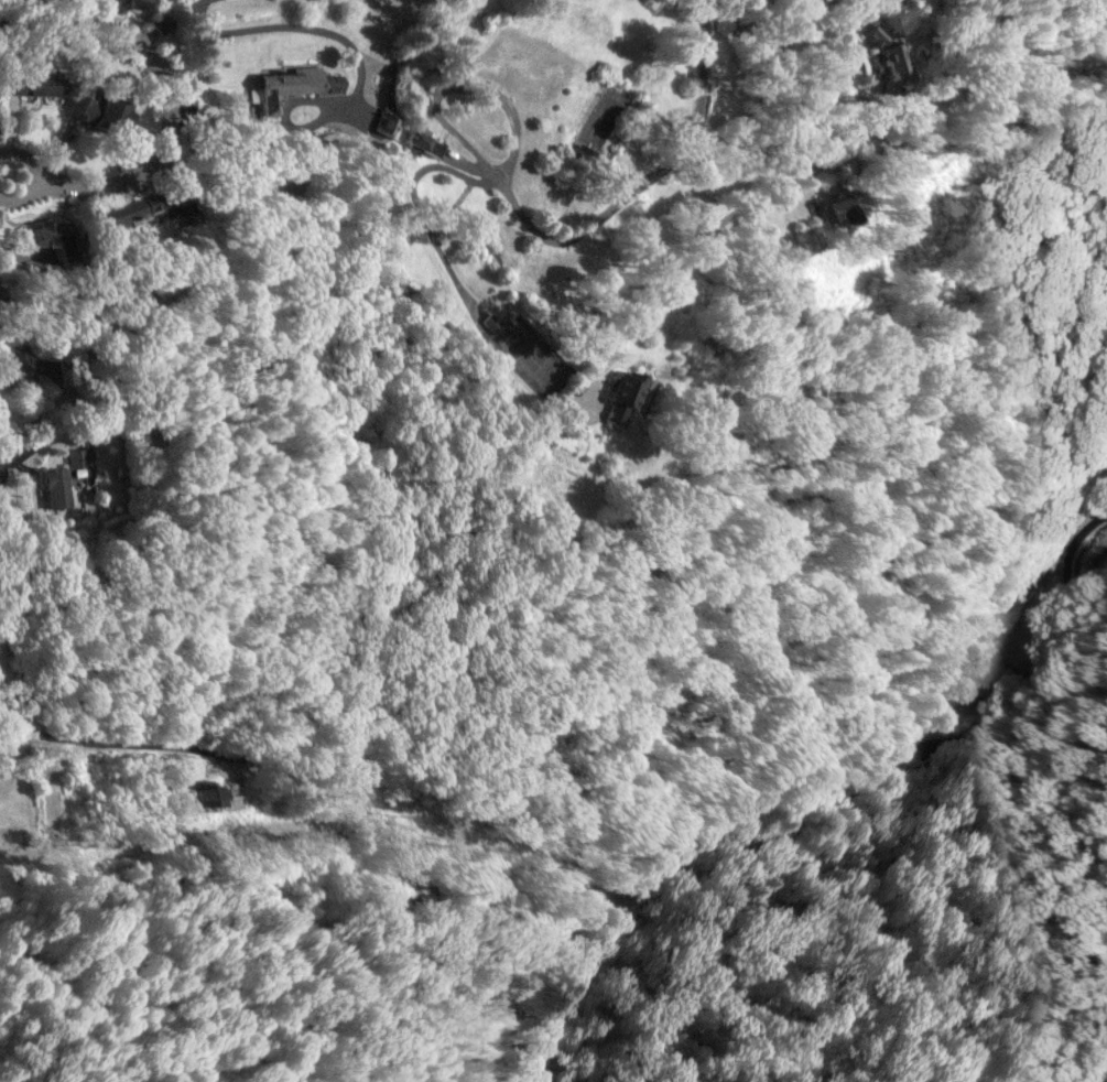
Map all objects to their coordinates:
building: (132, 3)
road: (285, 25)
road: (792, 34)
road: (773, 73)
building: (32, 84)
building: (287, 85)
road: (167, 89)
road: (452, 93)
building: (99, 110)
road: (286, 118)
building: (421, 143)
building: (582, 154)
road: (35, 174)
road: (645, 182)
road: (768, 190)
building: (175, 207)
building: (836, 208)
building: (120, 212)
building: (50, 237)
building: (17, 368)
building: (629, 393)
building: (78, 461)
building: (56, 486)
building: (963, 684)
road: (955, 731)
road: (105, 742)
building: (205, 794)

